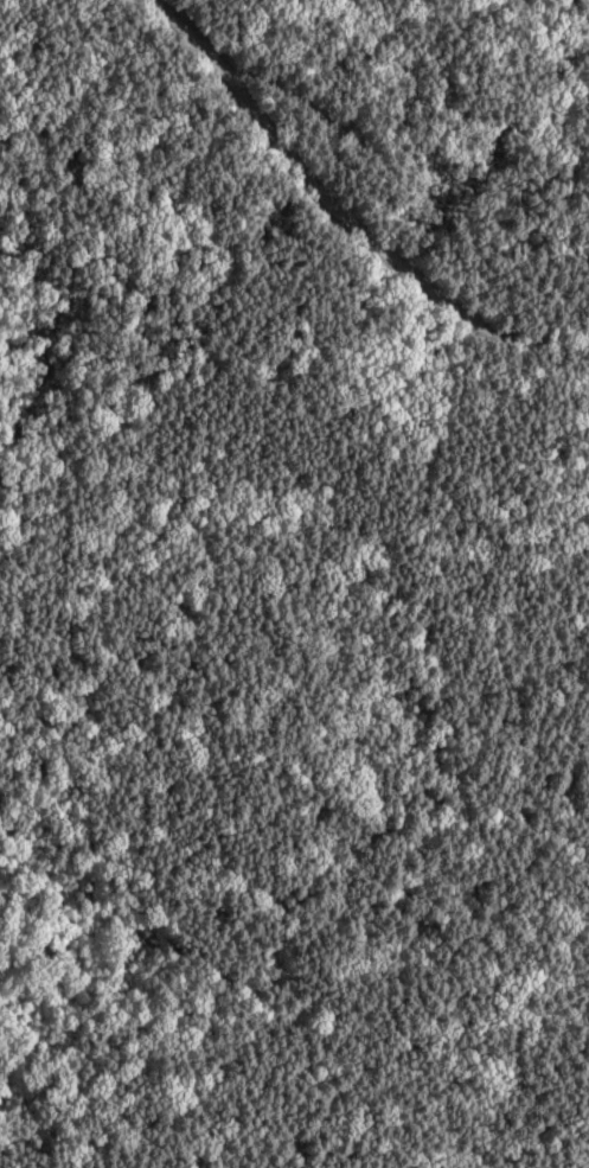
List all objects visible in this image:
road: (326, 211)

